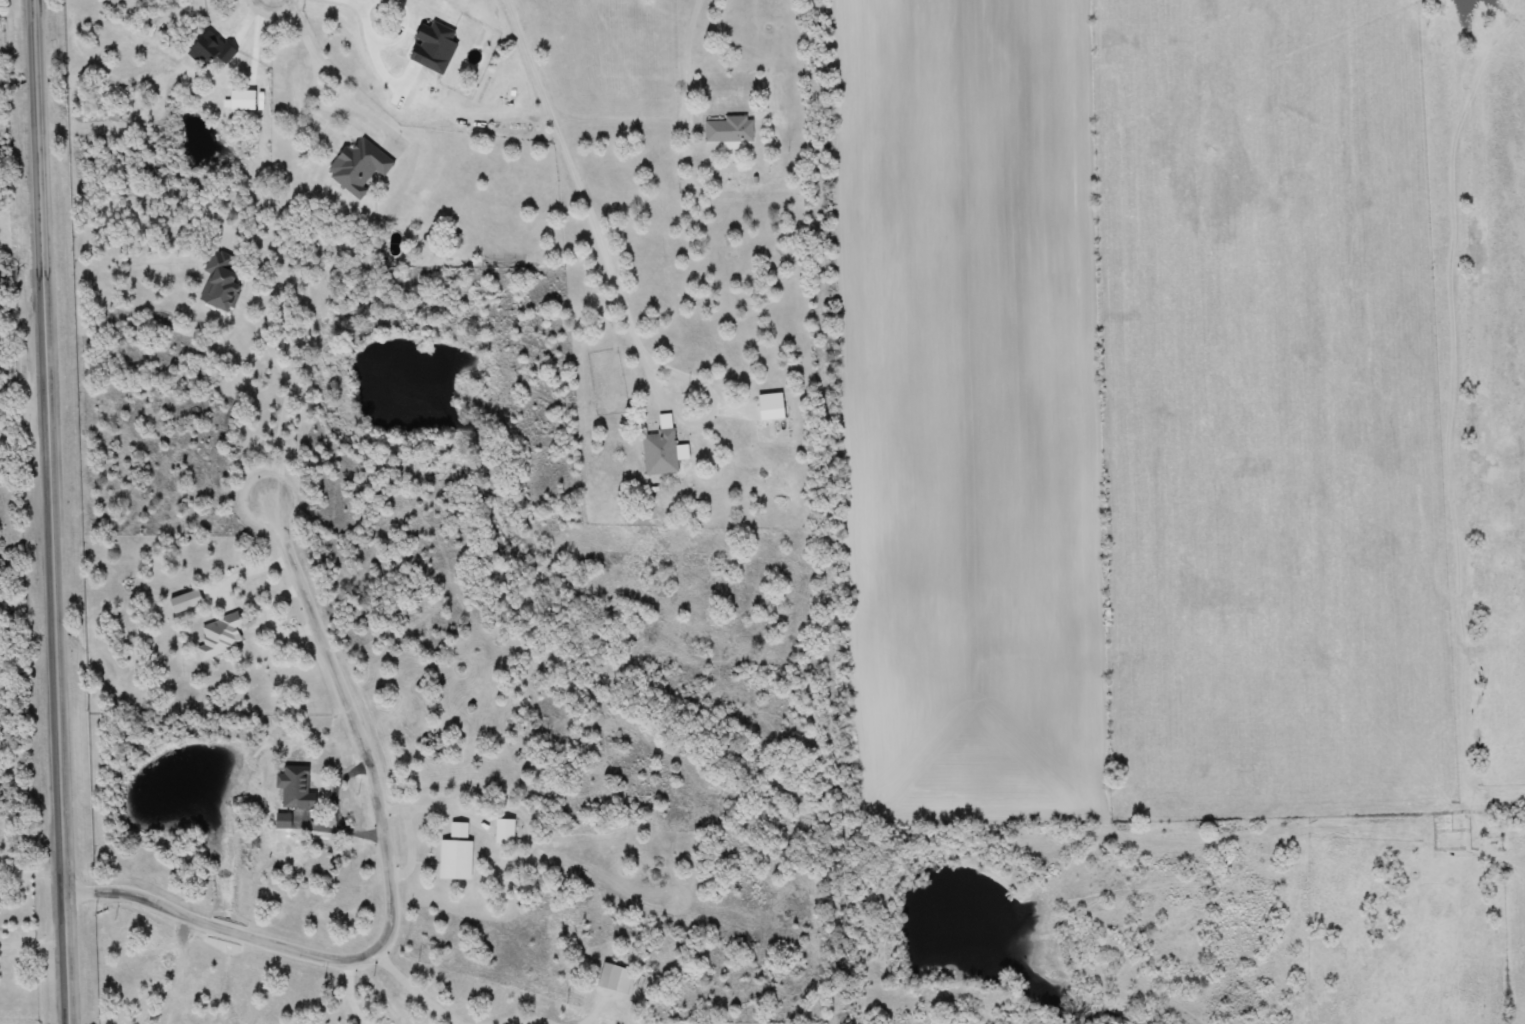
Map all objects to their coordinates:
road: (377, 54)
road: (689, 63)
building: (728, 129)
building: (355, 165)
road: (580, 181)
building: (452, 240)
building: (218, 282)
road: (290, 346)
road: (671, 409)
building: (657, 452)
road: (54, 511)
road: (250, 574)
road: (436, 810)
building: (503, 831)
road: (413, 848)
building: (454, 854)
road: (34, 869)
road: (393, 874)
road: (35, 944)
road: (422, 987)
road: (354, 997)

